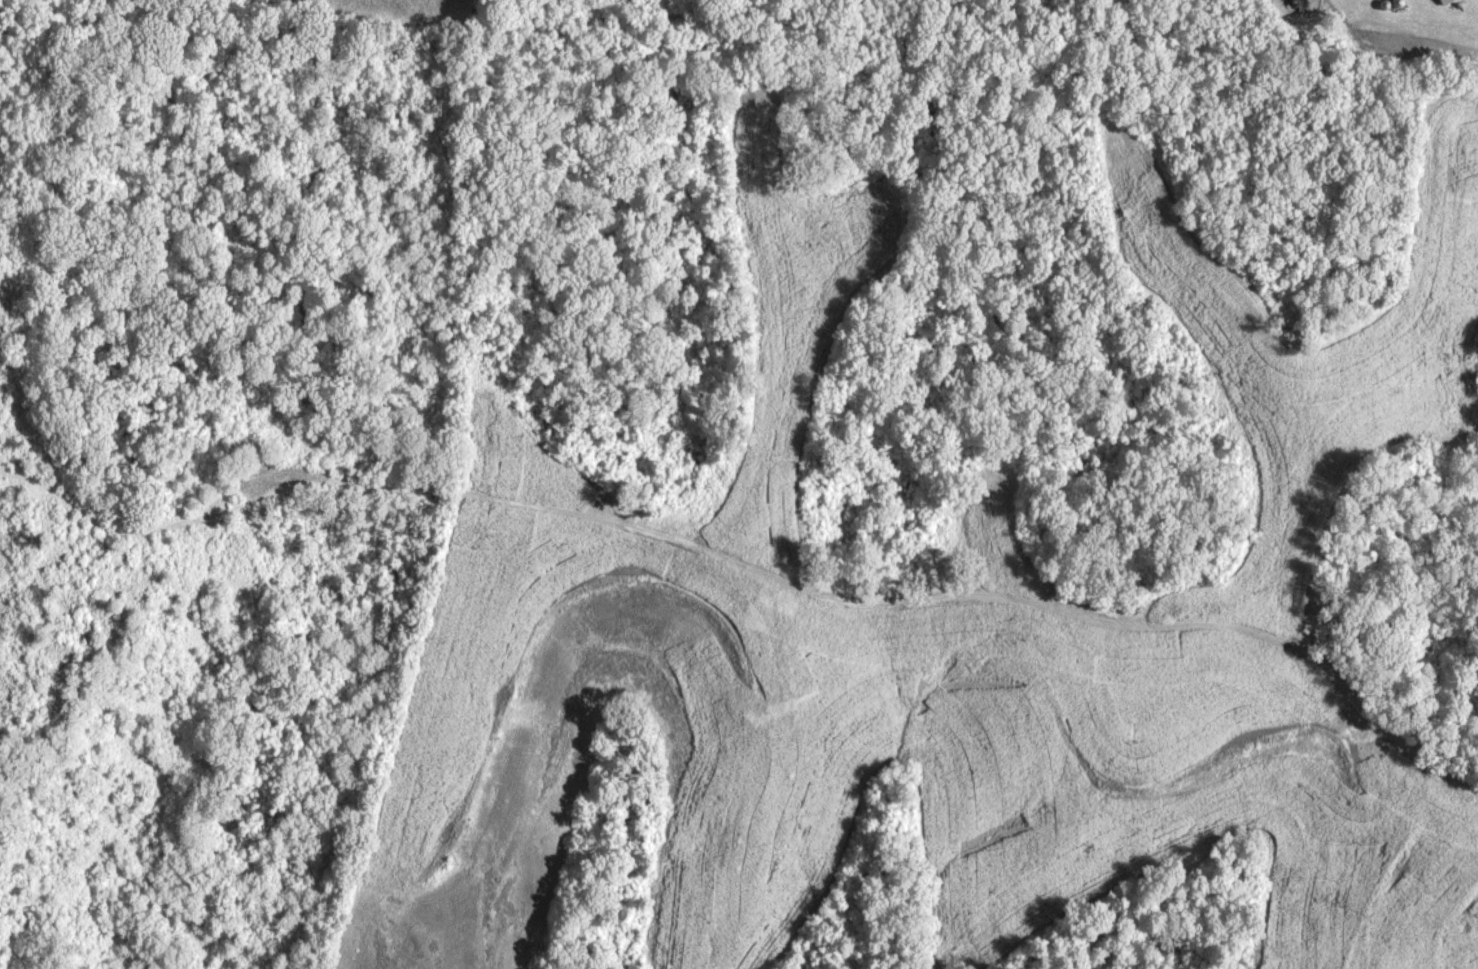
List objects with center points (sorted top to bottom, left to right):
building: (1466, 10)

